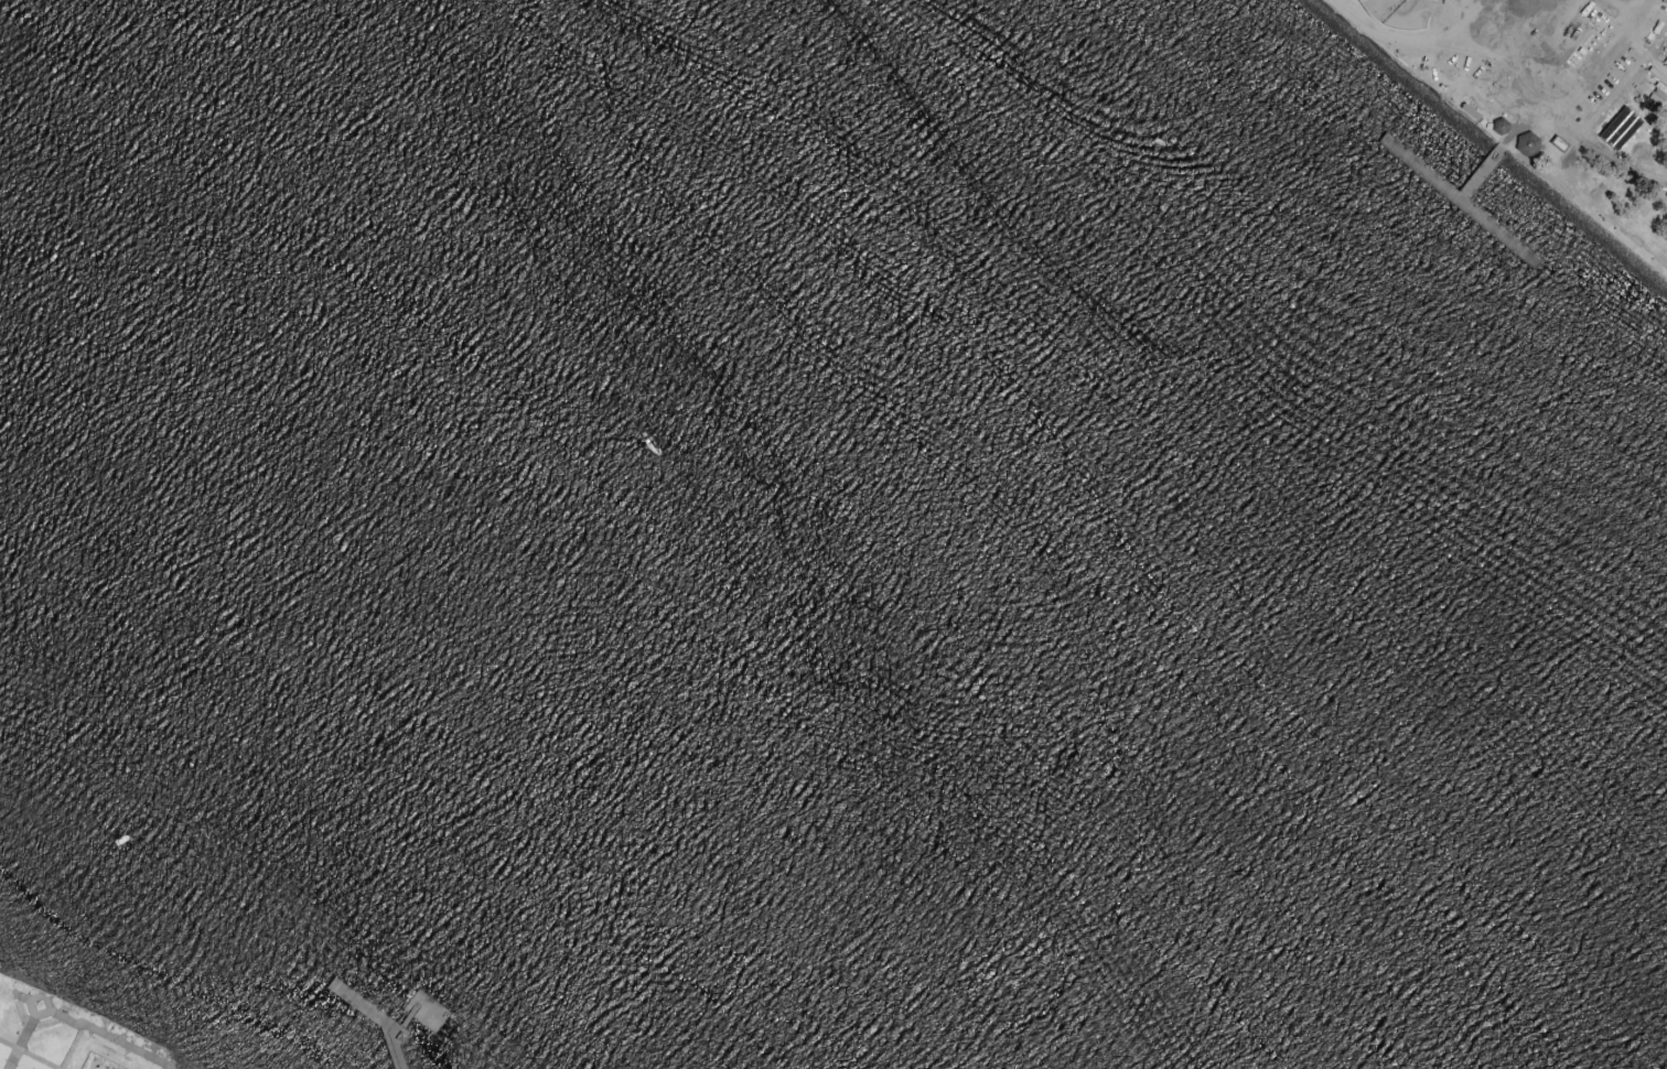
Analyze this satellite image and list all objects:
road: (1352, 12)
road: (1416, 36)
road: (1526, 36)
road: (1621, 36)
parking lot: (1578, 62)
road: (1495, 68)
park: (1550, 94)
road: (1606, 106)
road: (1560, 110)
road: (1521, 125)
building: (1502, 128)
park: (1665, 129)
road: (1497, 139)
building: (1527, 144)
pier: (1462, 197)
road: (29, 1002)
pier: (426, 1013)
pier: (405, 1024)
pier: (376, 1025)
road: (399, 1030)
park: (60, 1033)
road: (110, 1037)
road: (20, 1043)
road: (25, 1056)

